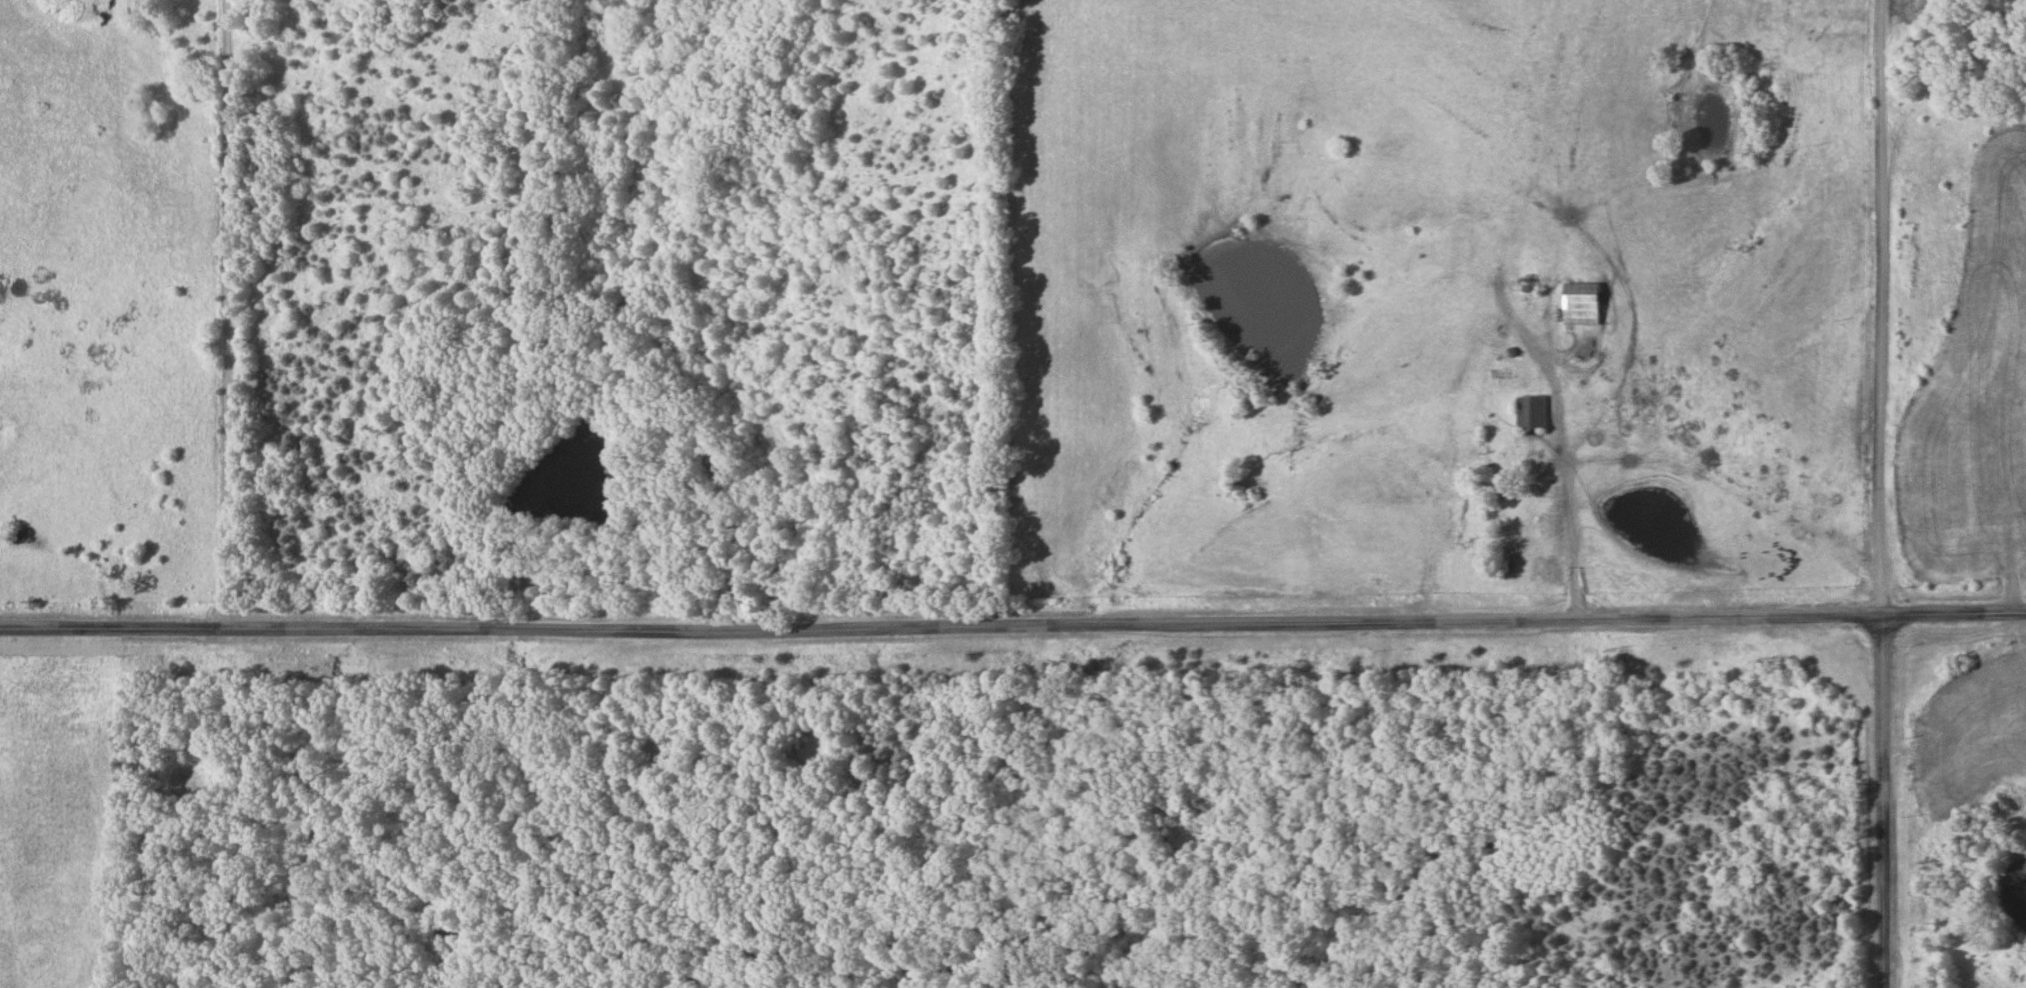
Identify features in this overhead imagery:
building: (1581, 304)
road: (1880, 308)
road: (243, 314)
building: (2001, 383)
building: (1531, 413)
building: (1935, 480)
building: (1527, 544)
building: (1961, 554)
building: (738, 589)
road: (1013, 626)
building: (2002, 686)
building: (2016, 747)
building: (1966, 763)
road: (1882, 802)

